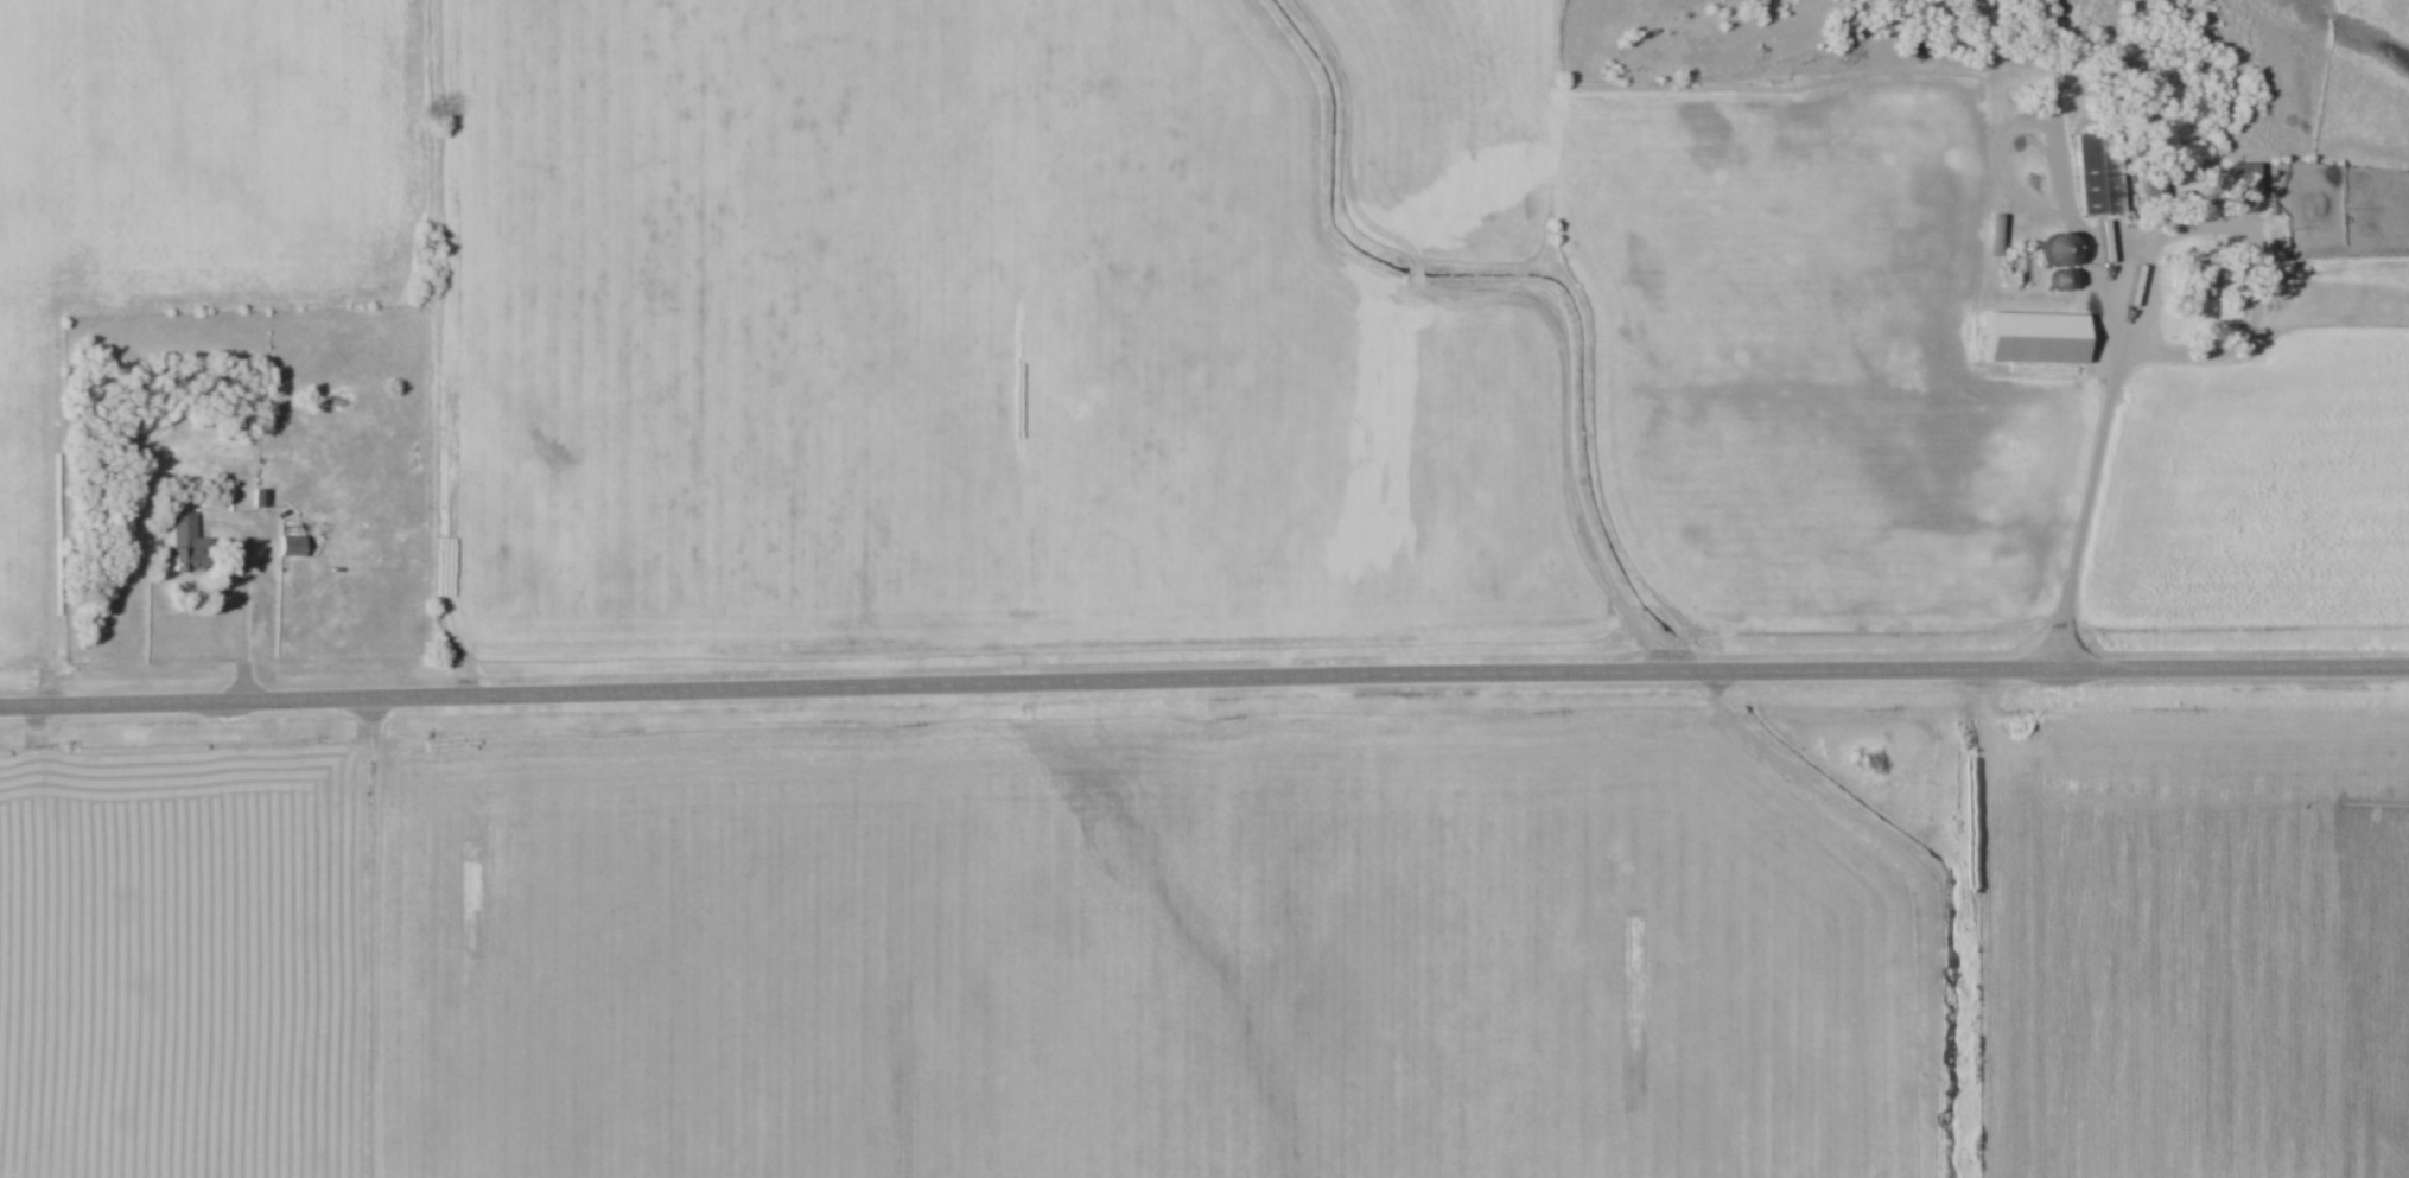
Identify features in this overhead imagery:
building: (2033, 61)
building: (2093, 168)
building: (2242, 179)
building: (2192, 204)
silo: (2055, 248)
building: (2054, 257)
silo: (2058, 280)
building: (2201, 282)
road: (2259, 286)
crop: (1072, 317)
road: (1595, 320)
building: (2032, 338)
road: (2114, 364)
crop: (2265, 489)
building: (258, 497)
building: (180, 546)
building: (290, 547)
road: (241, 591)
road: (1203, 677)
road: (376, 937)
crop: (2195, 944)
crop: (964, 954)

